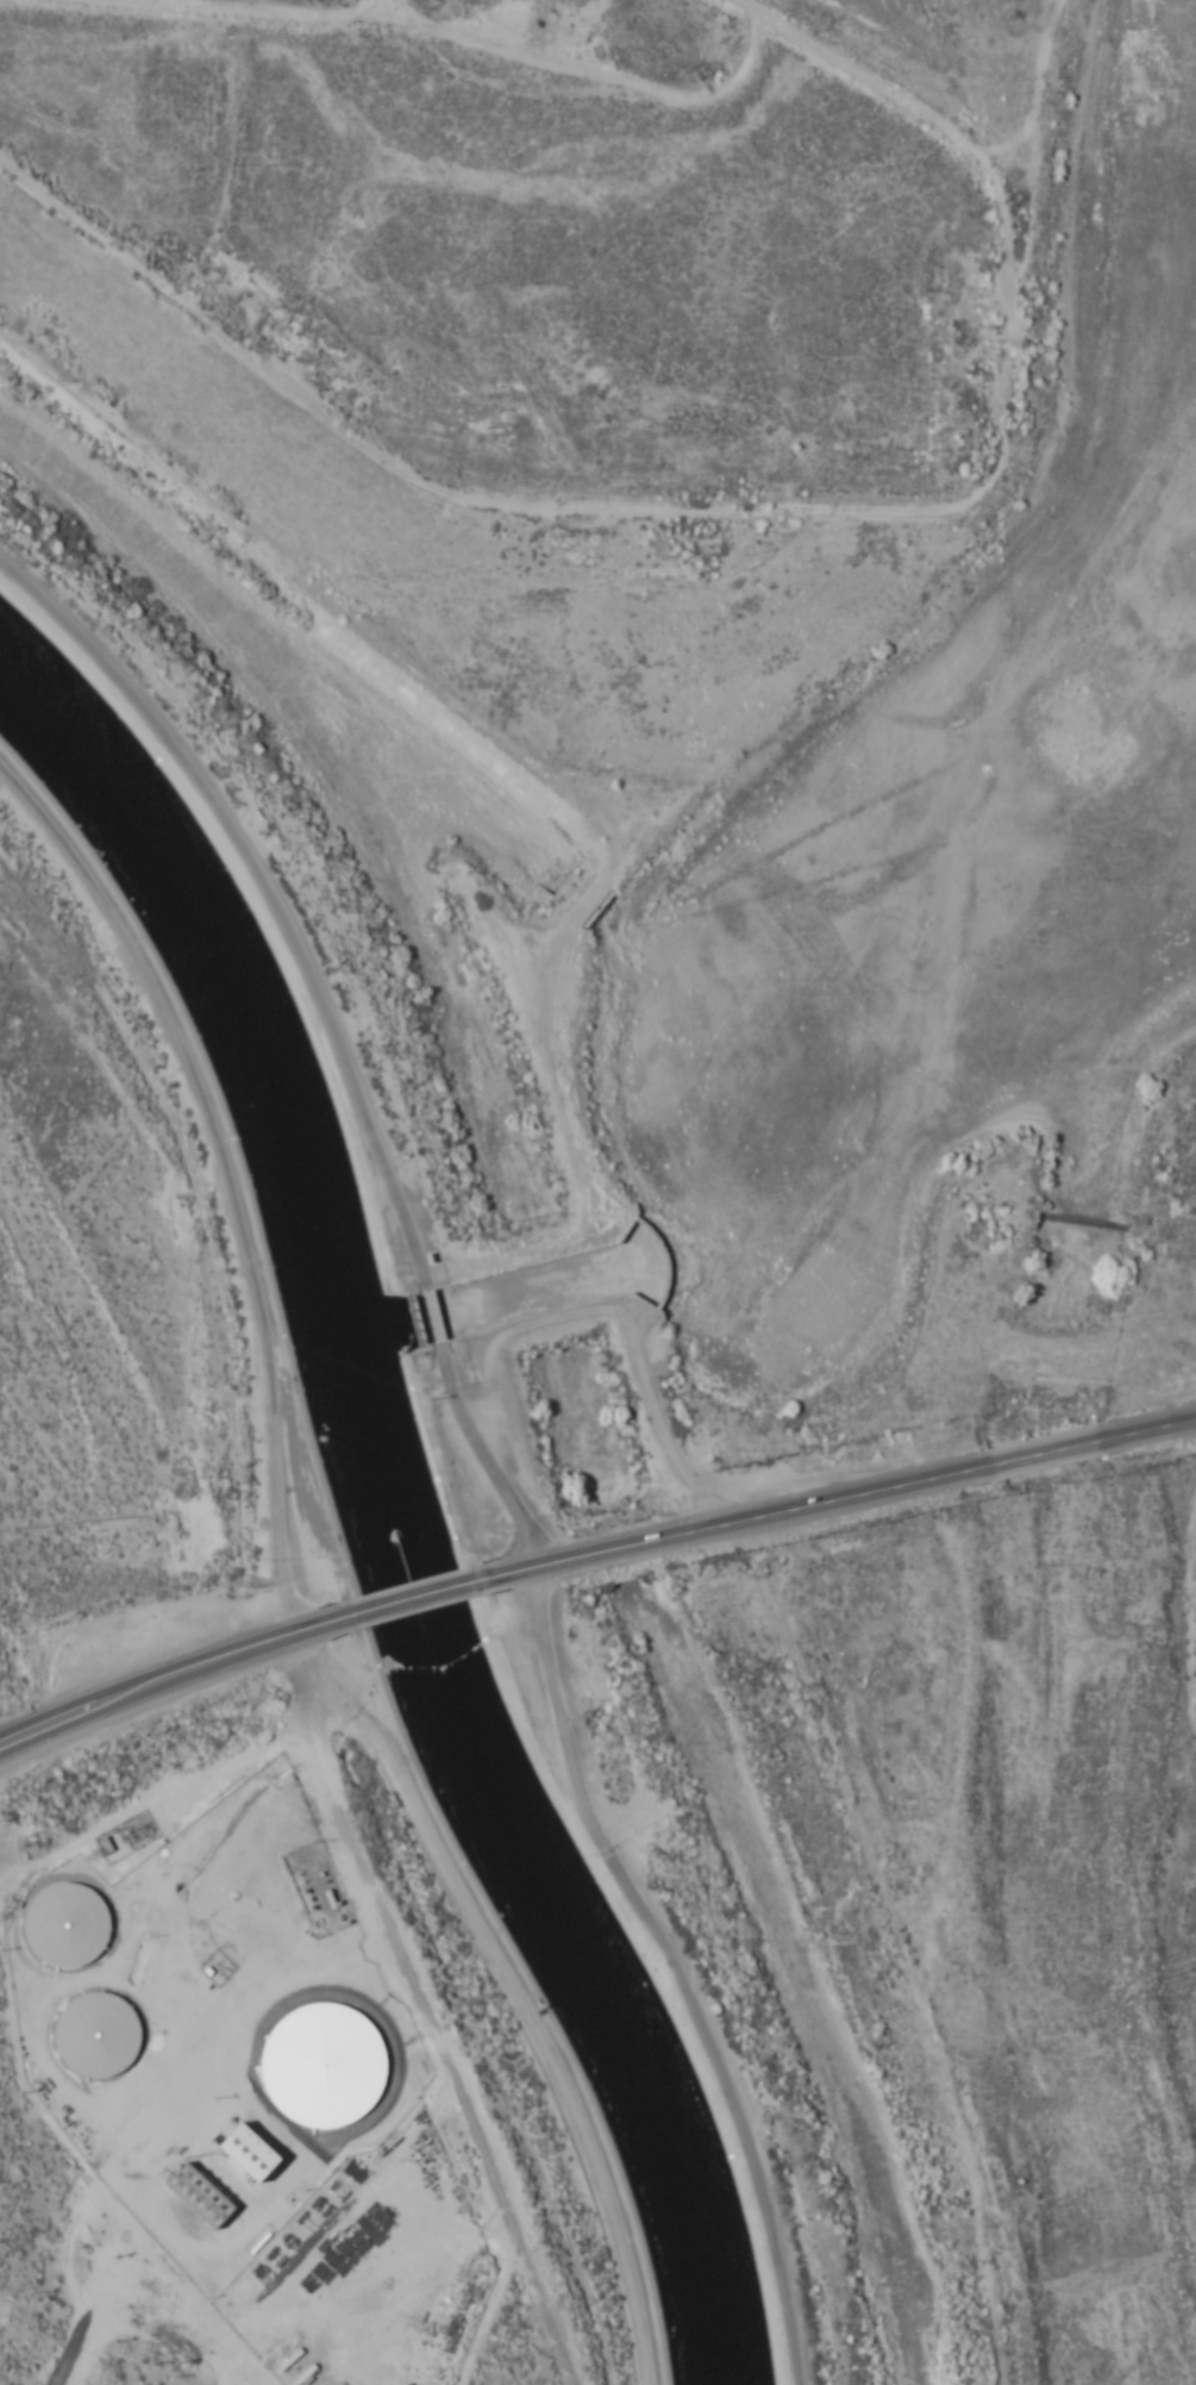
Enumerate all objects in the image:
road: (347, 0)
road: (357, 0)
road: (740, 505)
road: (268, 891)
river: (1095, 1005)
road: (199, 1195)
road: (431, 1315)
crop: (92, 1410)
road: (1151, 1430)
road: (1048, 1454)
road: (733, 1528)
road: (407, 1599)
road: (168, 1673)
road: (613, 1863)
road: (1183, 1903)
building: (64, 1925)
road: (864, 1952)
road: (513, 1988)
road: (426, 2010)
building: (94, 2035)
building: (324, 2066)
building: (252, 2152)
building: (201, 2196)

